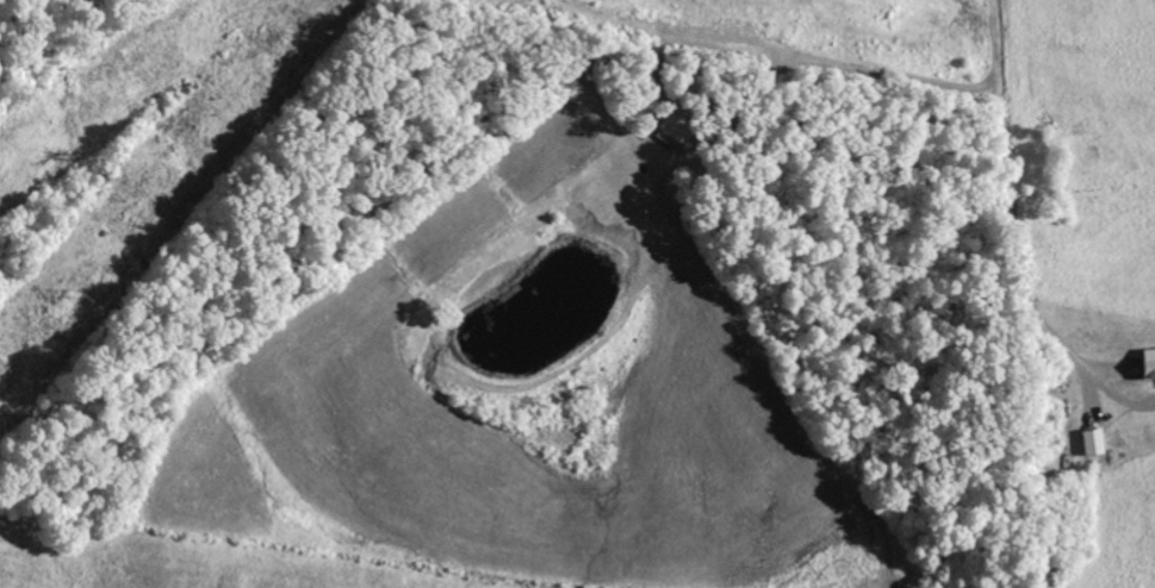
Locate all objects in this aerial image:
building: (1151, 363)
building: (1098, 442)

